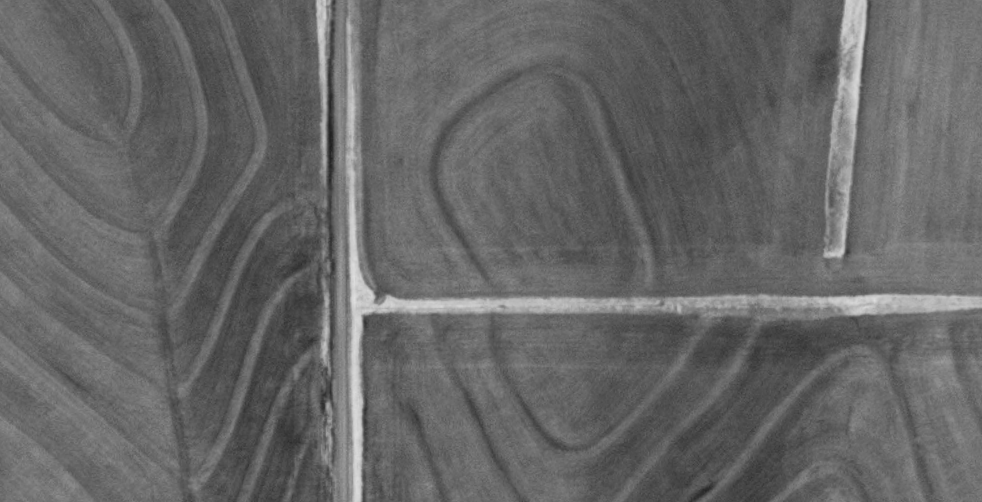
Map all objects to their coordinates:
road: (336, 251)

